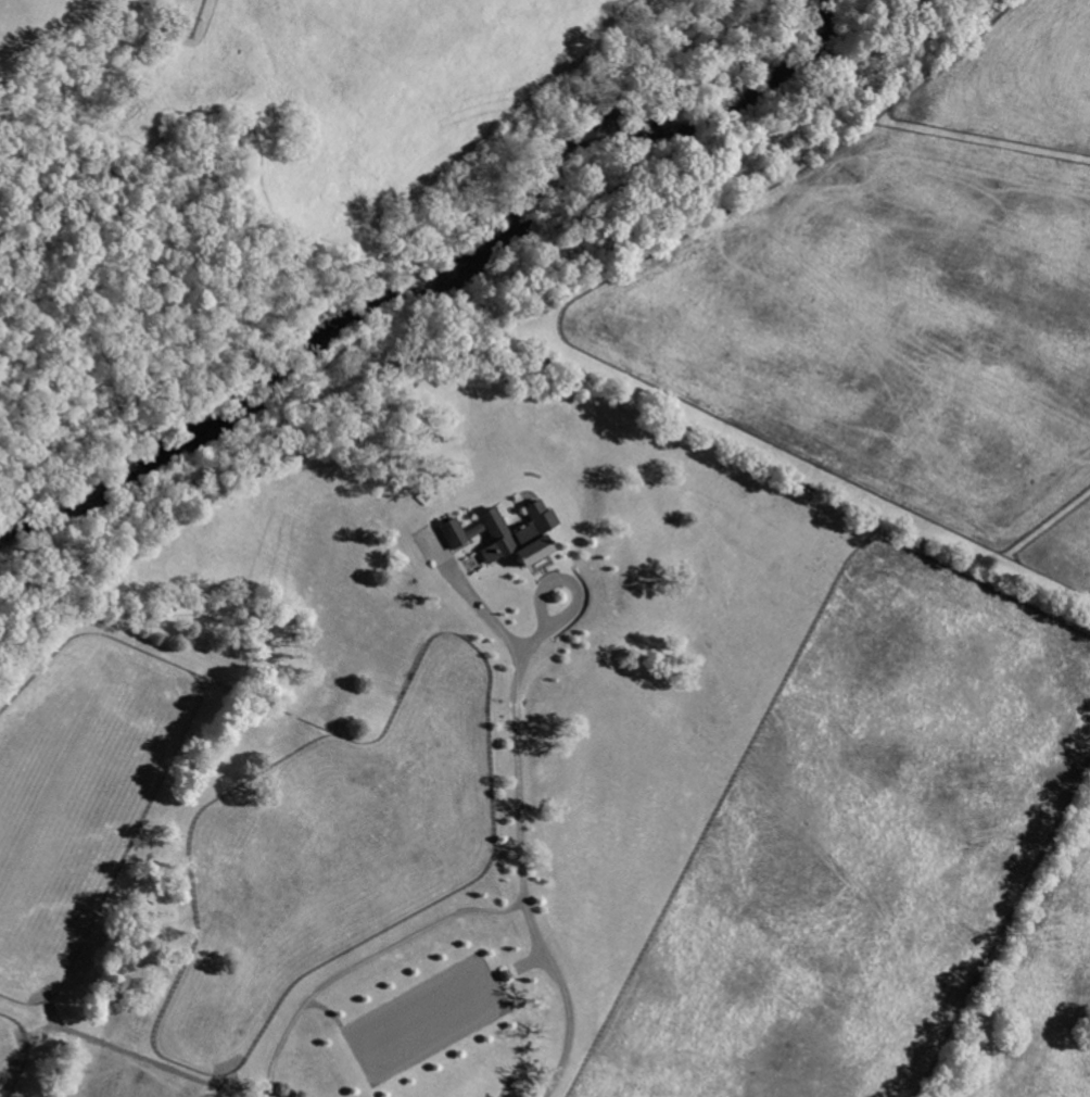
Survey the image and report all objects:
building: (458, 533)
building: (519, 535)
road: (481, 609)
road: (520, 848)
road: (363, 961)

